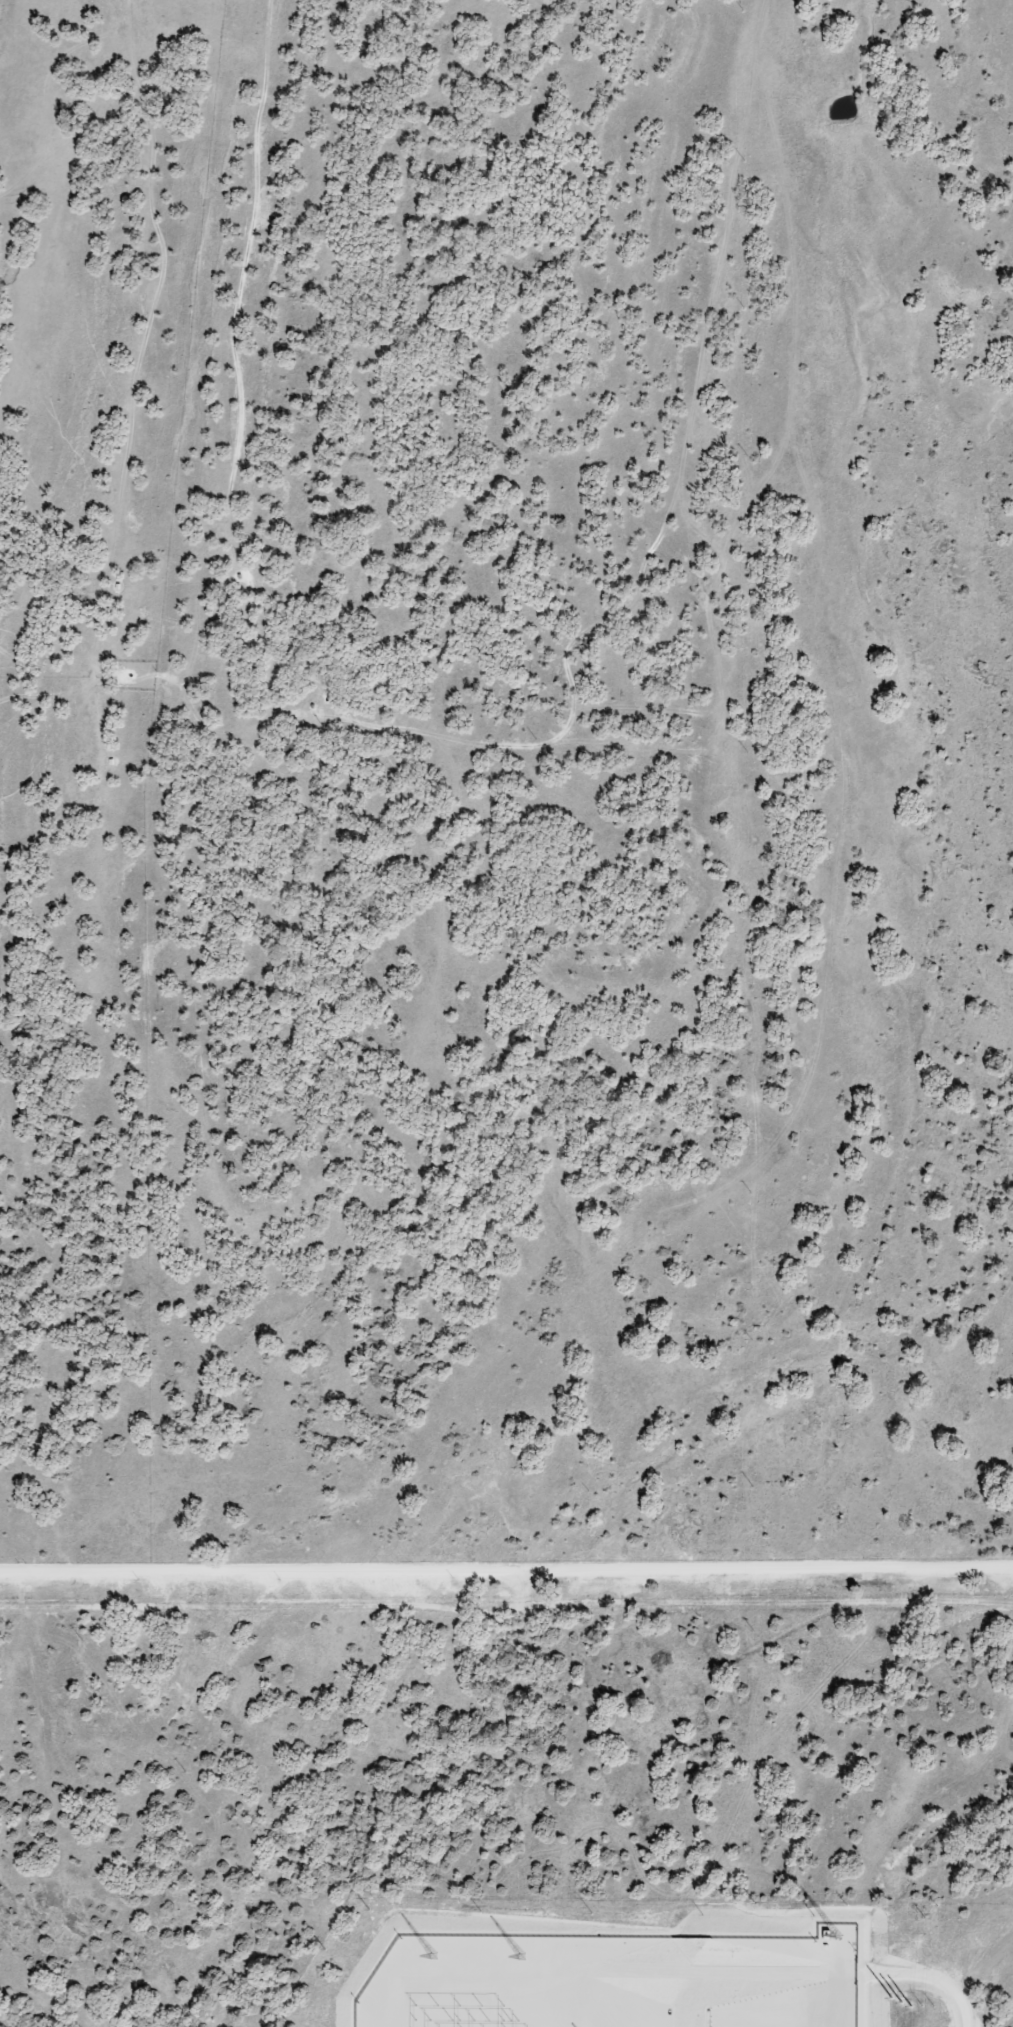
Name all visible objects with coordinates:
road: (506, 1570)
power substation: (614, 1980)
power tower: (901, 2002)
road: (971, 2022)

